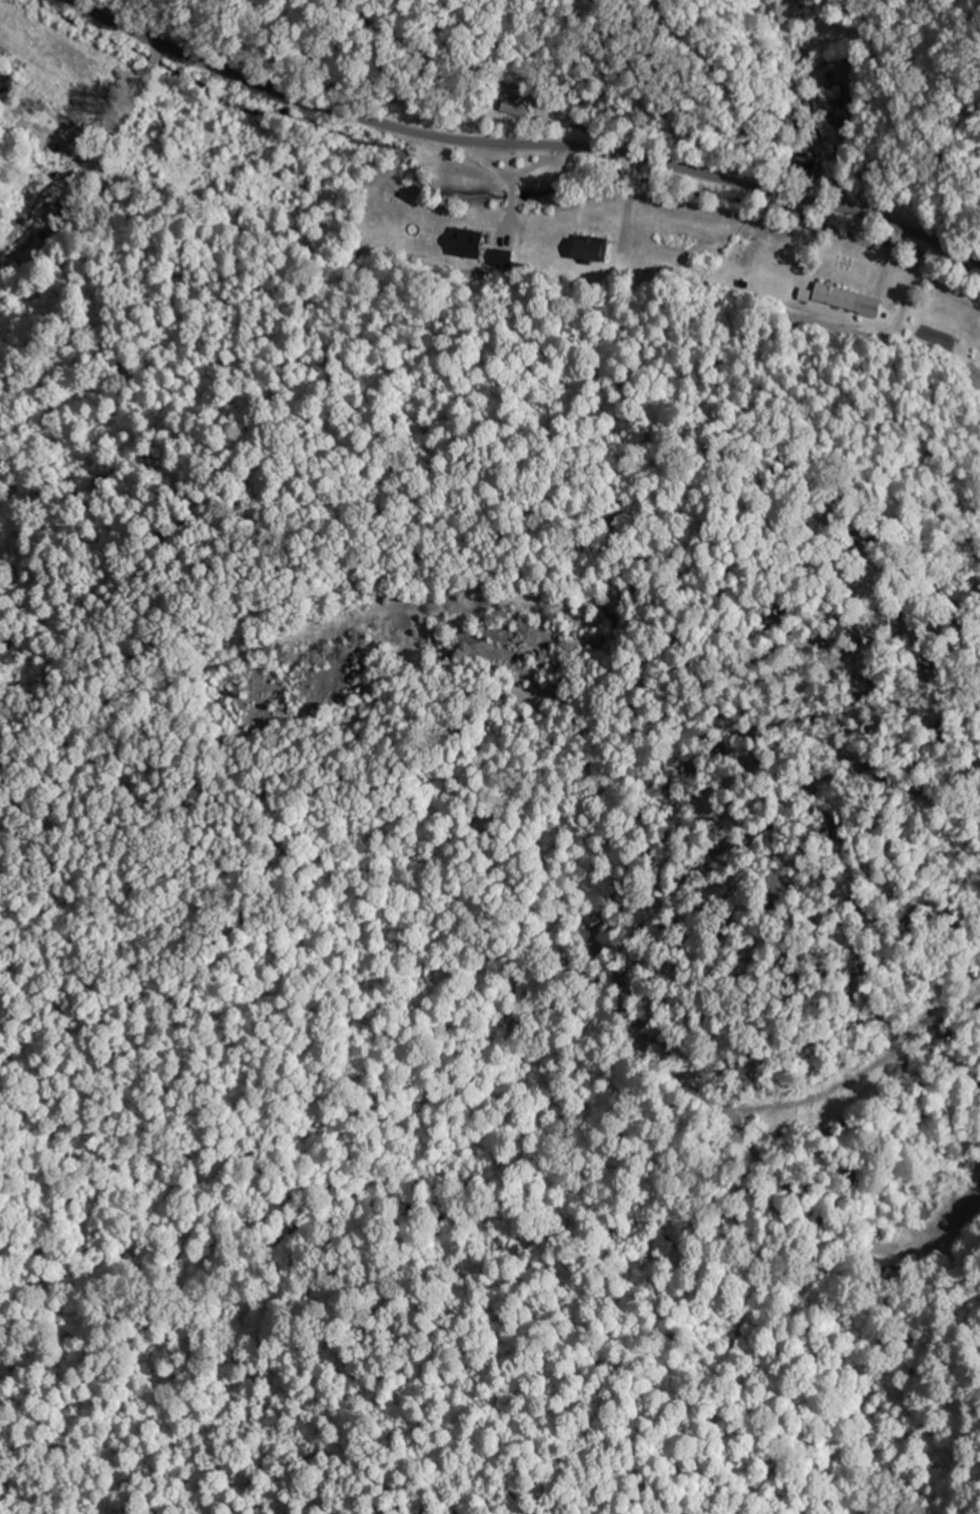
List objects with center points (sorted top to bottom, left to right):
building: (828, 93)
road: (520, 145)
building: (805, 162)
building: (127, 186)
building: (55, 218)
building: (591, 248)
building: (838, 296)

